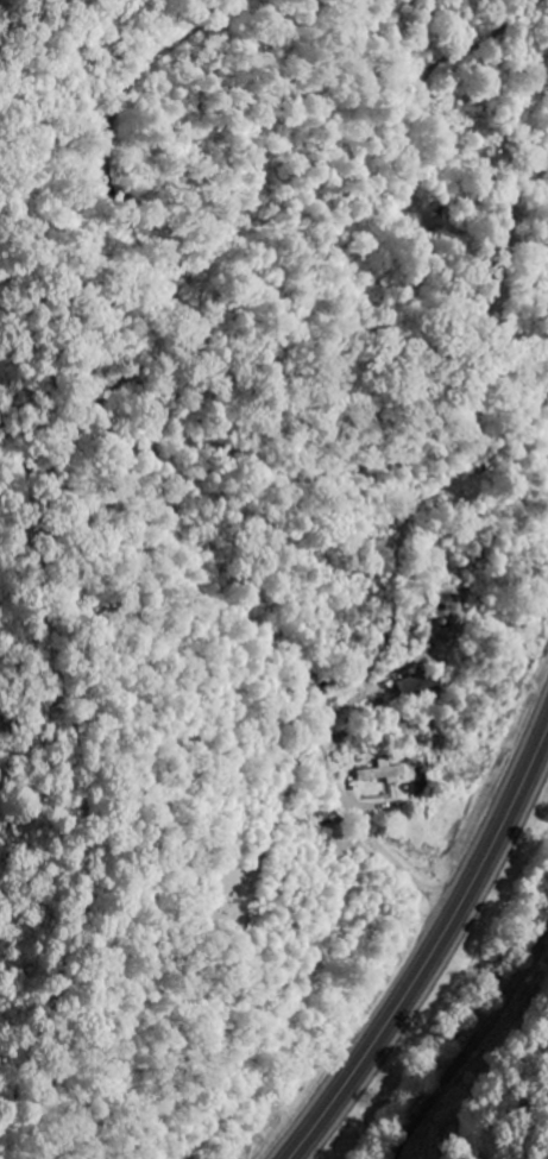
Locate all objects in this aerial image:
road: (164, 453)
building: (421, 688)
building: (384, 774)
road: (436, 947)
road: (503, 1079)

